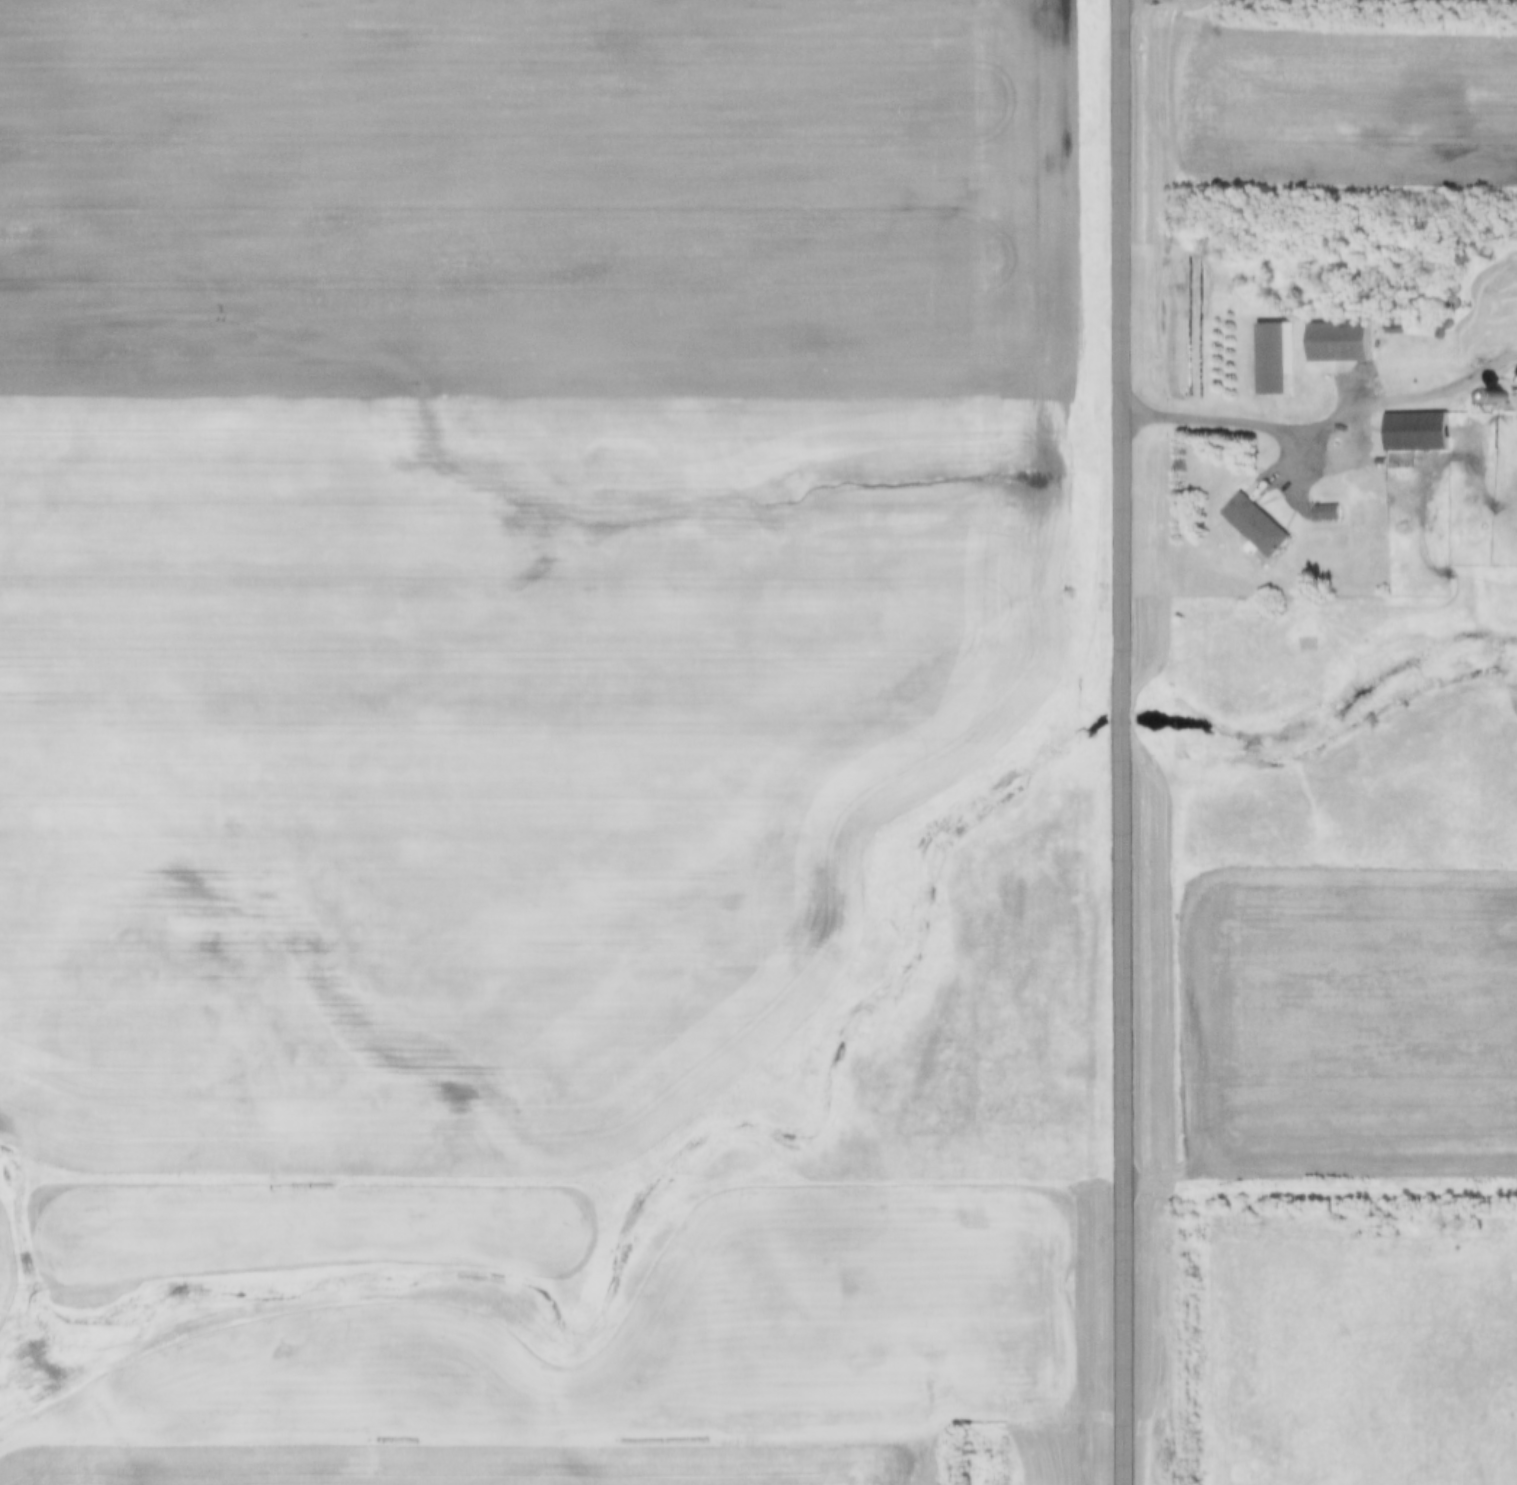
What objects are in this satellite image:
building: (1335, 341)
building: (1272, 357)
road: (1326, 430)
building: (1413, 432)
building: (1321, 513)
building: (1252, 524)
road: (1125, 742)

